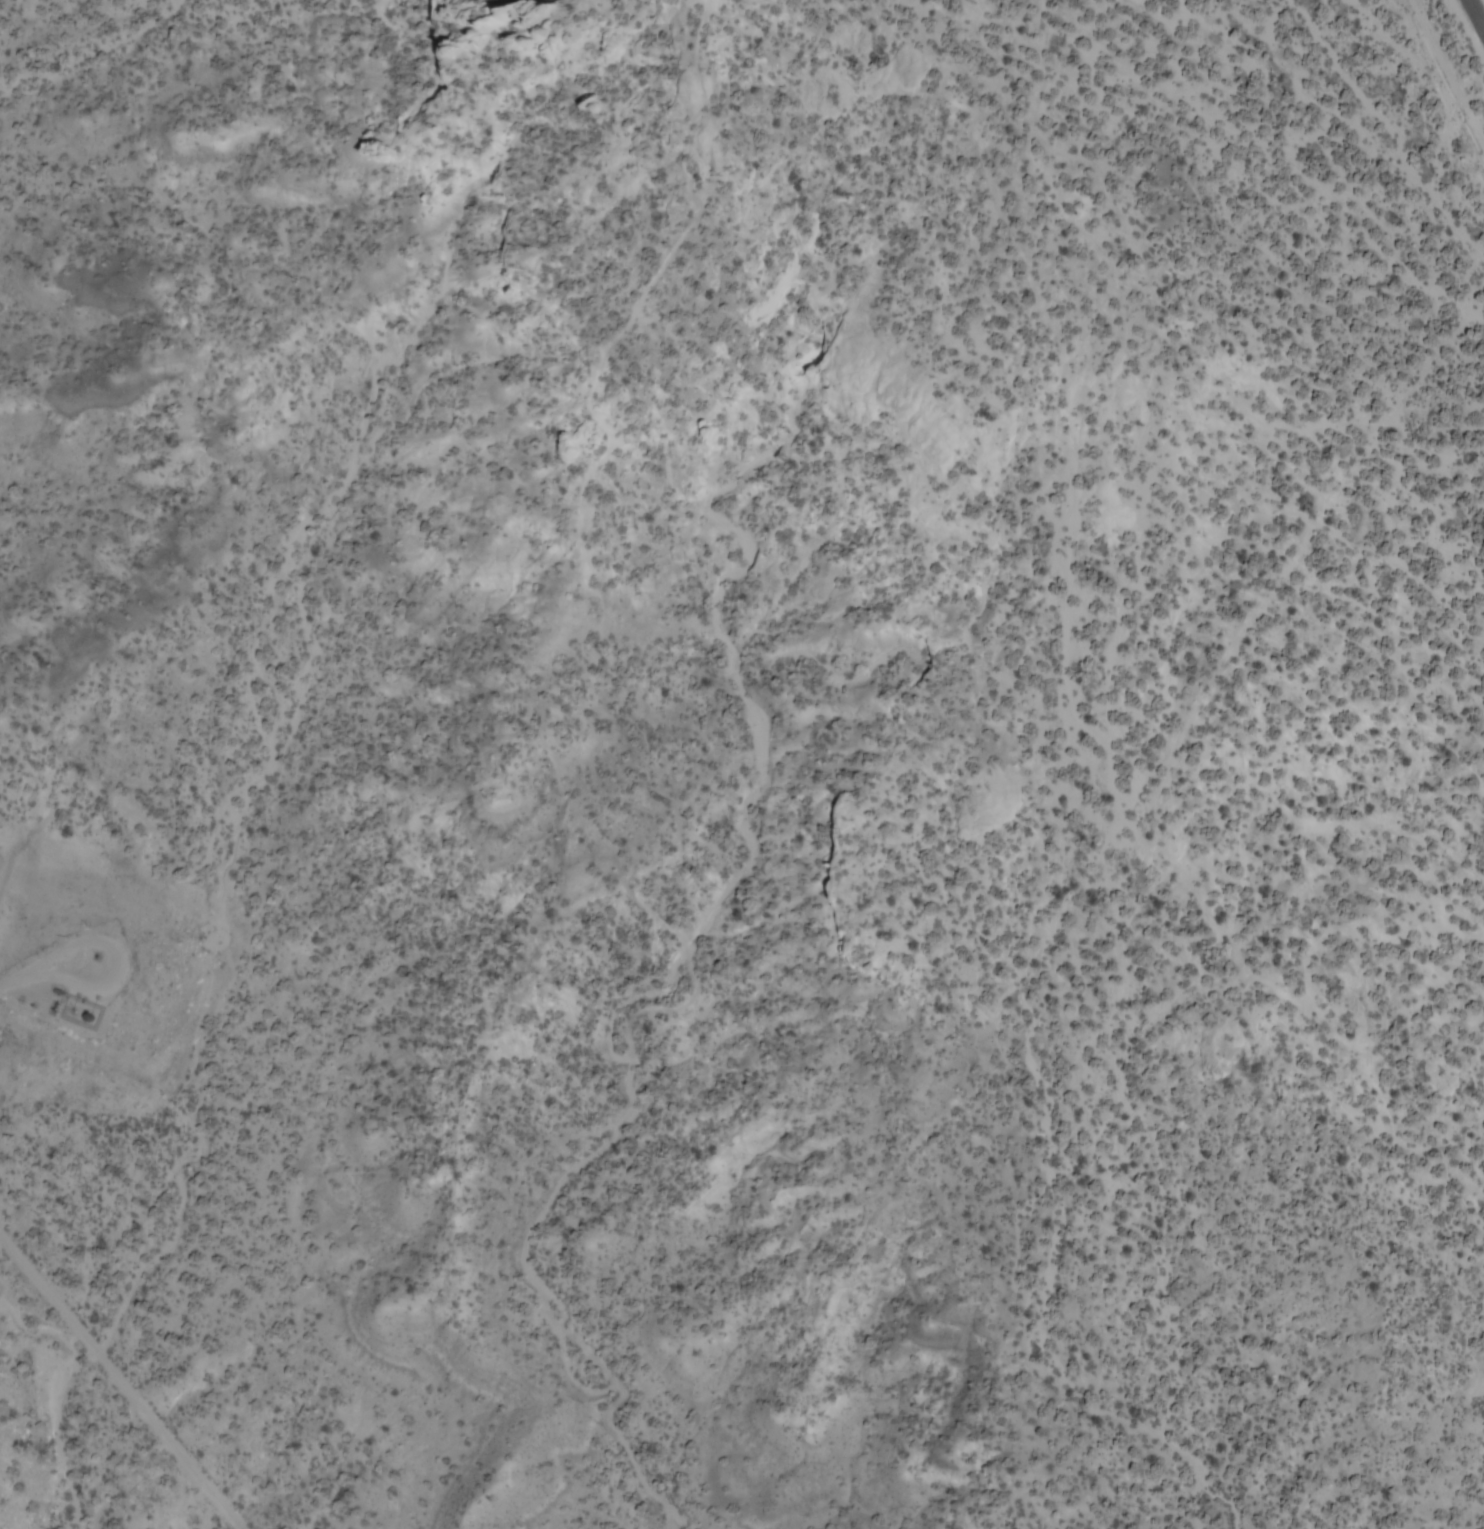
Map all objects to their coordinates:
road: (1480, 6)
road: (110, 1406)

